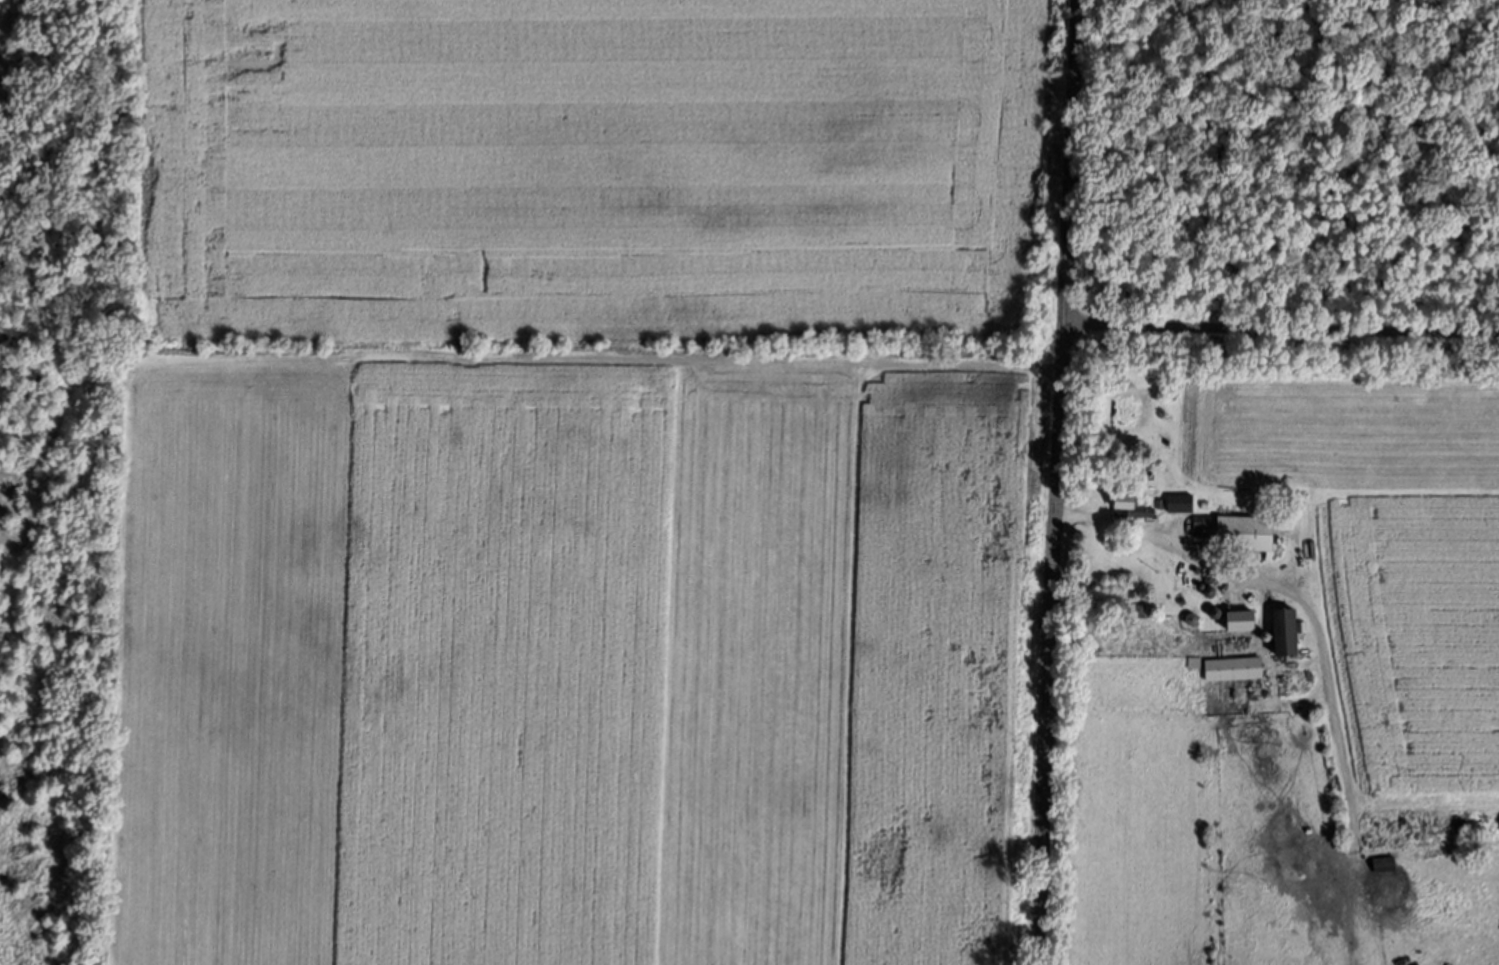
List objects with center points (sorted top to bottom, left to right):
road: (1281, 336)
road: (1056, 482)
building: (1175, 504)
building: (1124, 508)
building: (1197, 524)
building: (1236, 535)
road: (1163, 541)
building: (1230, 623)
building: (1276, 634)
building: (1227, 670)
building: (1381, 867)

